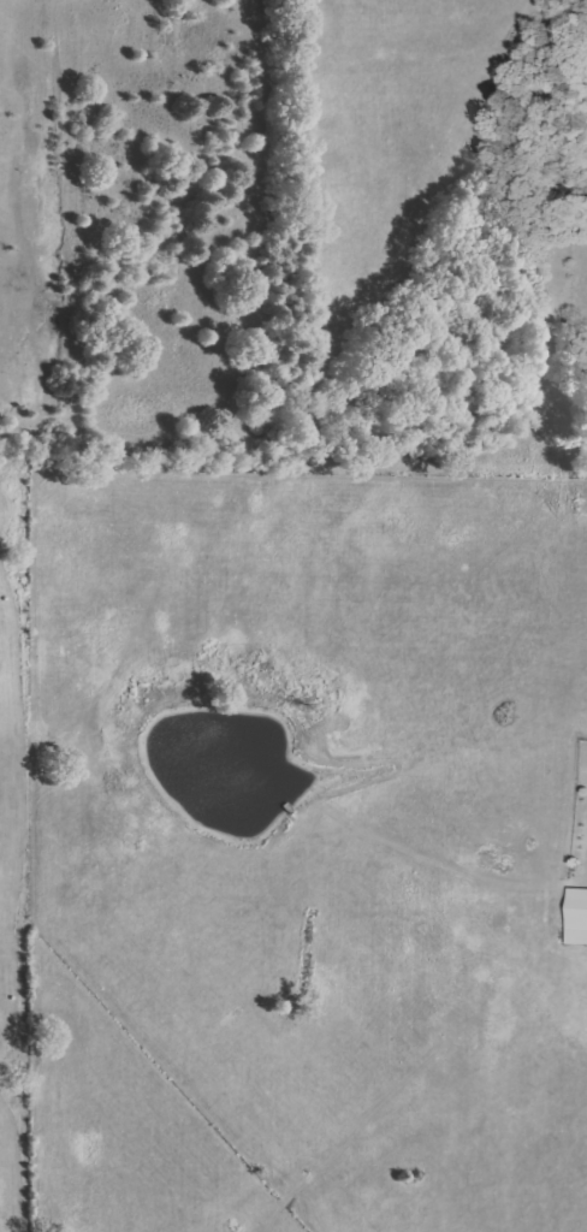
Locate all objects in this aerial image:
building: (577, 917)

